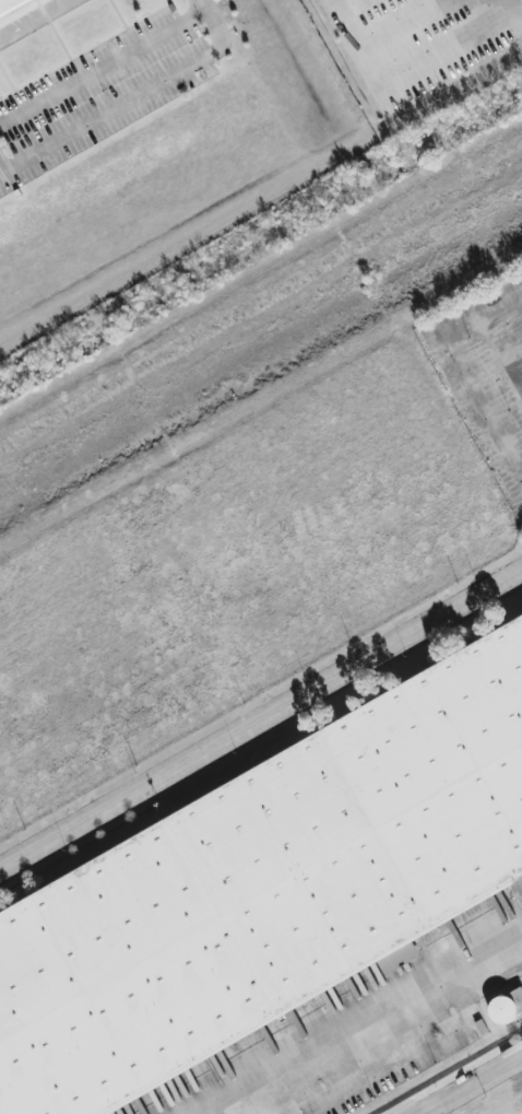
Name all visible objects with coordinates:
building: (10, 5)
road: (472, 12)
road: (34, 19)
road: (210, 19)
road: (104, 70)
road: (111, 108)
road: (520, 304)
road: (502, 355)
road: (462, 373)
parking lot: (487, 375)
road: (260, 723)
building: (266, 891)
building: (506, 1006)
road: (363, 1027)
road: (473, 1086)
road: (278, 1097)

